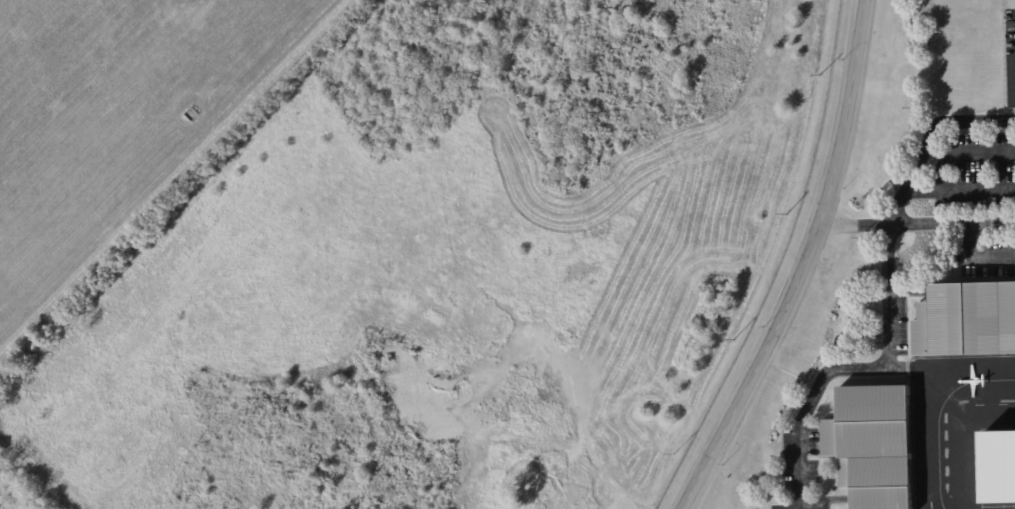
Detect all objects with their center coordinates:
road: (930, 141)
road: (970, 151)
road: (960, 193)
parking lot: (978, 198)
road: (952, 223)
road: (854, 225)
airport: (507, 254)
road: (972, 260)
road: (803, 266)
building: (962, 319)
road: (858, 371)
building: (869, 443)
airport hangar: (997, 467)
building: (997, 467)

